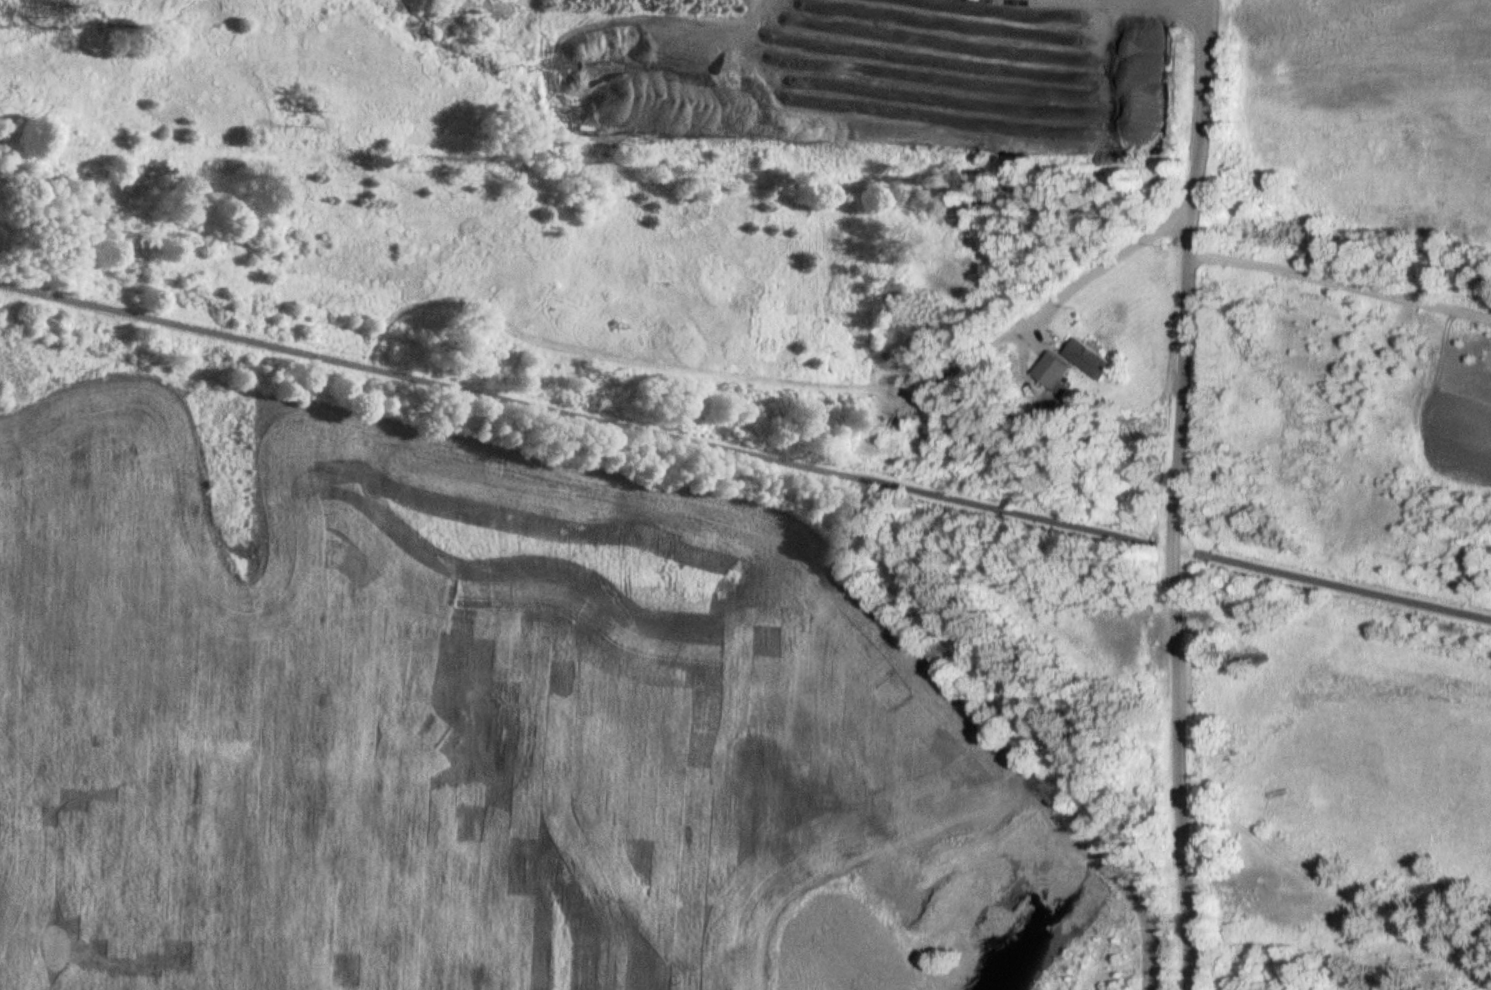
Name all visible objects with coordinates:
road: (1123, 5)
road: (1201, 126)
road: (1101, 266)
road: (1341, 281)
building: (1088, 359)
road: (961, 364)
building: (1052, 371)
road: (578, 414)
road: (1344, 586)
road: (1175, 621)

